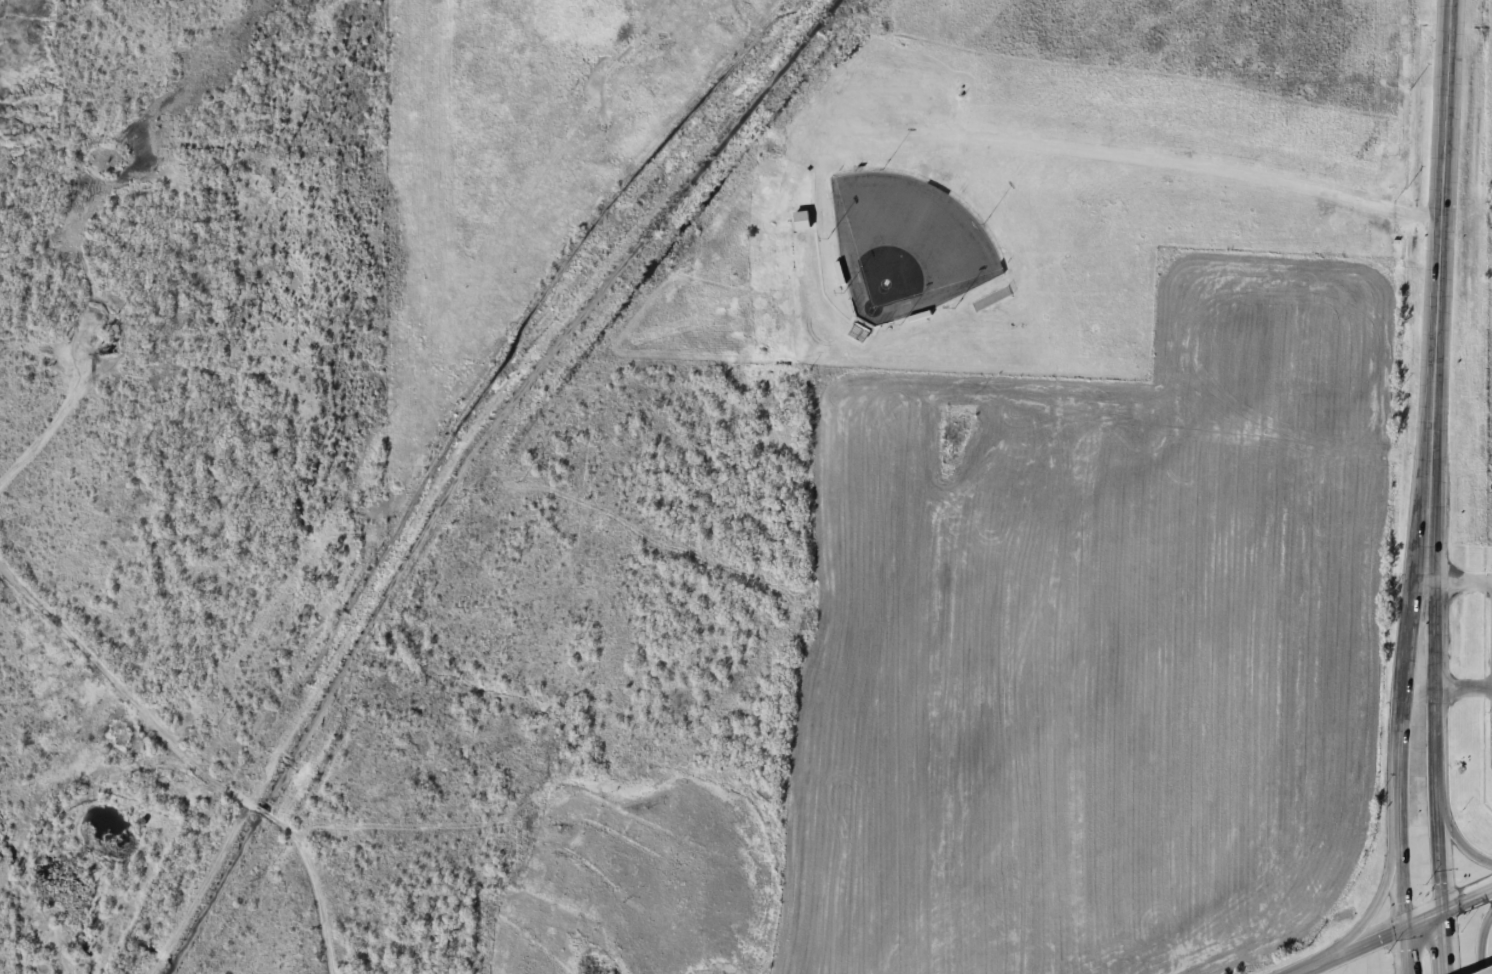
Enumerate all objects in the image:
road: (1444, 237)
road: (1433, 694)
road: (1401, 701)
road: (1457, 836)
road: (1373, 906)
road: (1448, 910)
traffic signals: (1442, 913)
traffic signals: (1405, 930)
road: (1479, 940)
road: (1443, 943)
road: (1352, 951)
road: (1406, 952)

